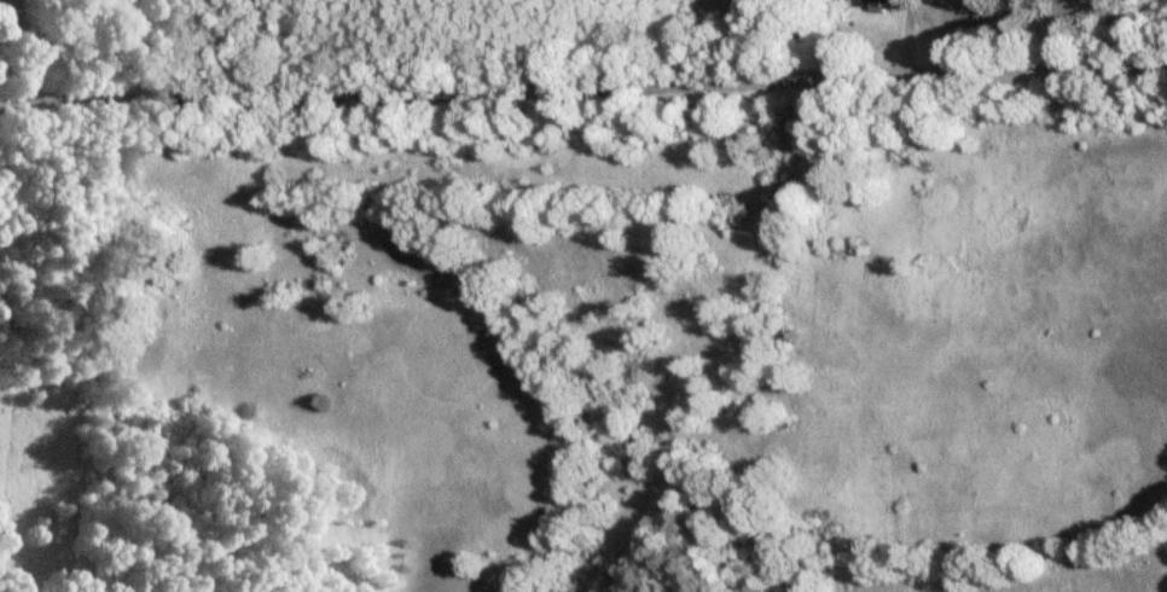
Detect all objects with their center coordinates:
building: (879, 5)
road: (1091, 33)
road: (905, 41)
road: (24, 45)
road: (583, 82)

